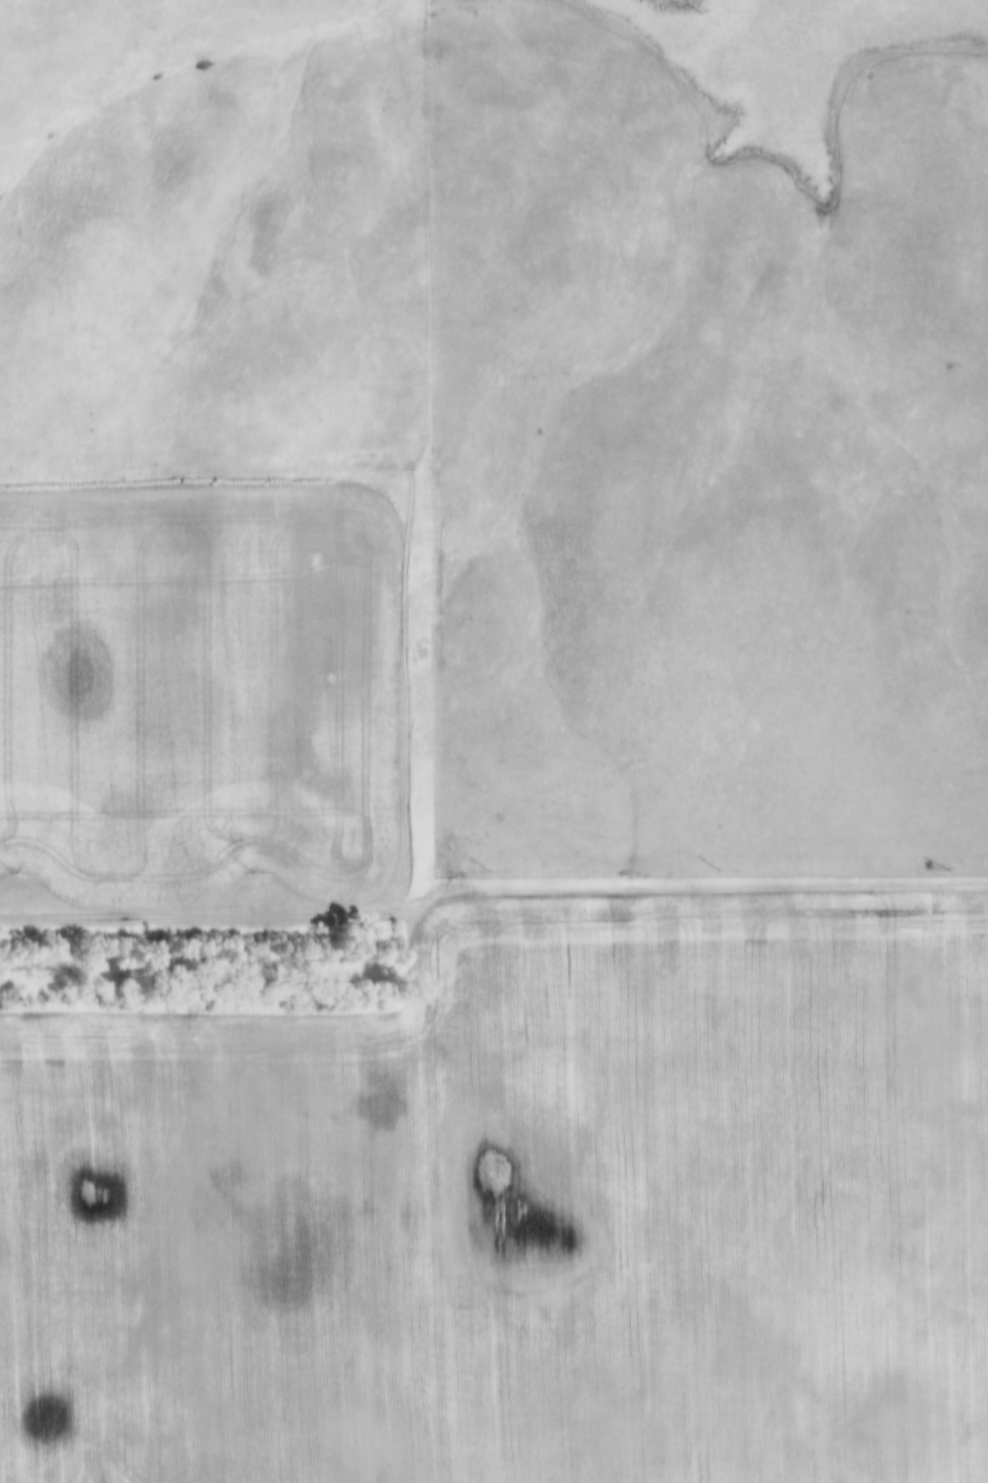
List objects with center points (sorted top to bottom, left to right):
road: (493, 906)

